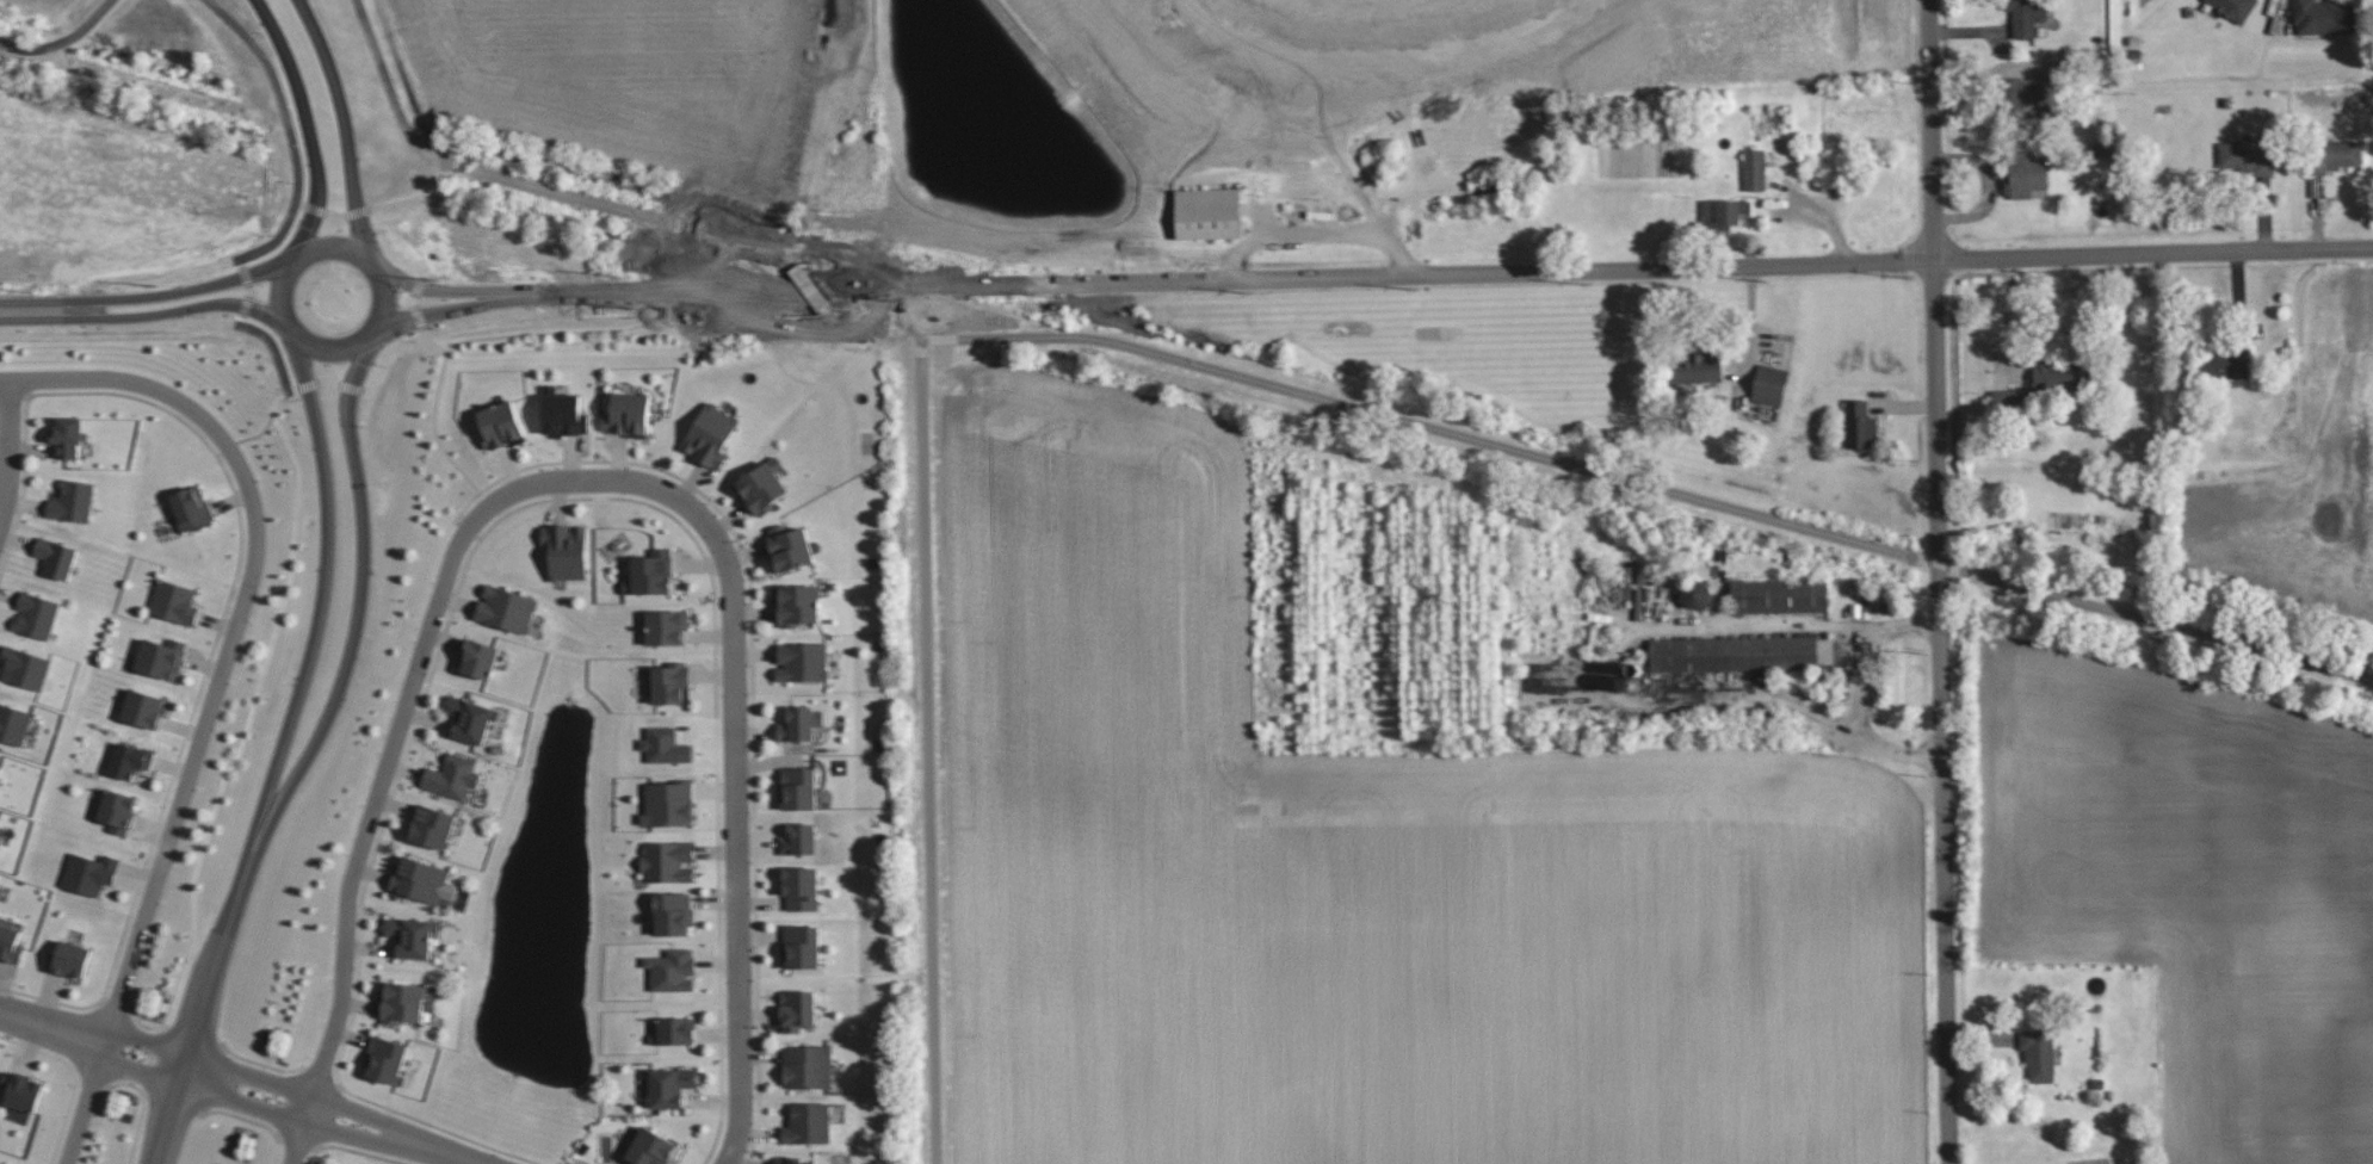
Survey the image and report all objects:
building: (2233, 7)
building: (2026, 16)
building: (2325, 17)
road: (58, 41)
road: (643, 45)
road: (1389, 68)
building: (2028, 88)
road: (346, 124)
road: (310, 125)
road: (1932, 130)
building: (2334, 155)
building: (2244, 156)
building: (1754, 169)
road: (1403, 173)
building: (2025, 174)
road: (555, 191)
road: (296, 198)
building: (1207, 213)
building: (1723, 215)
road: (1436, 277)
road: (282, 281)
road: (193, 284)
road: (439, 286)
road: (189, 303)
road: (444, 304)
road: (48, 305)
road: (600, 329)
road: (855, 332)
road: (1015, 335)
building: (2227, 363)
building: (1697, 367)
building: (2059, 373)
road: (4, 377)
building: (2009, 400)
building: (562, 413)
building: (629, 414)
building: (1860, 425)
building: (501, 426)
road: (438, 433)
building: (711, 434)
building: (67, 435)
road: (7, 441)
park: (2309, 460)
road: (580, 479)
building: (762, 485)
building: (72, 501)
building: (191, 508)
road: (1741, 509)
building: (789, 547)
building: (566, 550)
building: (56, 557)
building: (653, 572)
building: (1695, 594)
building: (1780, 595)
building: (174, 601)
building: (797, 602)
building: (506, 608)
building: (36, 615)
road: (320, 621)
building: (667, 626)
road: (356, 633)
building: (1734, 652)
building: (161, 657)
building: (478, 658)
building: (802, 661)
building: (24, 667)
road: (1612, 676)
building: (671, 682)
road: (214, 688)
building: (143, 708)
road: (1940, 712)
building: (470, 718)
building: (799, 723)
building: (13, 724)
building: (665, 745)
road: (928, 751)
building: (129, 760)
building: (0, 767)
building: (451, 775)
building: (797, 788)
building: (668, 803)
building: (117, 810)
building: (431, 825)
building: (802, 840)
building: (0, 842)
building: (667, 861)
building: (89, 872)
building: (421, 880)
building: (801, 887)
building: (672, 914)
building: (412, 935)
building: (10, 943)
building: (802, 946)
building: (69, 959)
building: (672, 970)
building: (402, 1001)
building: (797, 1009)
building: (673, 1030)
road: (194, 1032)
building: (2039, 1054)
building: (385, 1059)
building: (807, 1066)
building: (668, 1085)
road: (247, 1088)
building: (21, 1091)
building: (807, 1122)
building: (653, 1147)
building: (790, 1160)
building: (1, 1163)

